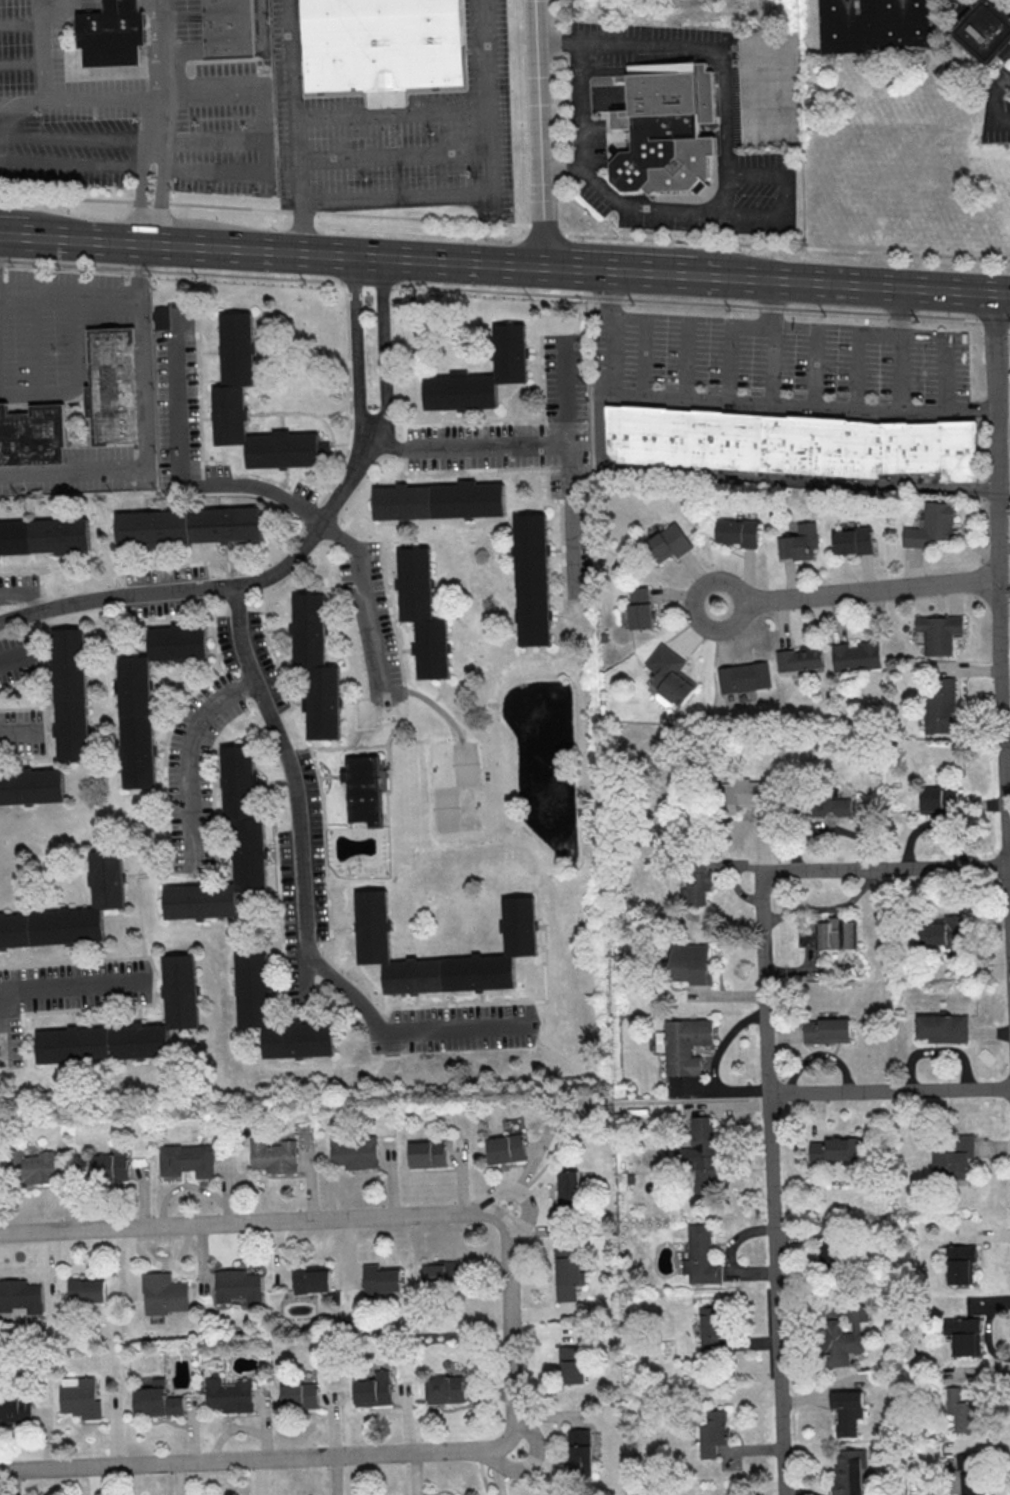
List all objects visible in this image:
building: (877, 26)
building: (983, 28)
road: (159, 31)
building: (112, 34)
building: (381, 44)
building: (227, 55)
road: (45, 75)
road: (1001, 79)
road: (102, 98)
road: (295, 100)
road: (157, 107)
road: (584, 109)
road: (988, 111)
road: (392, 113)
building: (667, 129)
road: (722, 132)
road: (539, 133)
road: (394, 156)
road: (788, 191)
road: (139, 194)
road: (492, 194)
road: (159, 195)
road: (66, 198)
road: (138, 200)
road: (149, 201)
road: (160, 202)
road: (230, 206)
road: (303, 211)
road: (422, 218)
road: (300, 226)
road: (546, 229)
road: (18, 234)
road: (168, 243)
road: (786, 246)
road: (342, 255)
road: (462, 262)
road: (621, 270)
road: (856, 285)
road: (504, 292)
road: (70, 293)
road: (773, 302)
building: (162, 317)
parking lot: (54, 329)
road: (645, 341)
road: (33, 344)
road: (732, 344)
road: (356, 348)
road: (384, 350)
road: (857, 350)
road: (902, 350)
parking lot: (782, 358)
road: (687, 360)
road: (773, 365)
road: (817, 368)
road: (947, 372)
building: (481, 375)
road: (79, 382)
building: (113, 386)
building: (227, 398)
road: (742, 402)
road: (602, 425)
road: (148, 430)
building: (33, 435)
road: (1003, 438)
building: (792, 442)
road: (467, 447)
parking lot: (534, 451)
road: (567, 468)
parking lot: (80, 473)
road: (801, 479)
road: (276, 494)
building: (438, 502)
building: (933, 526)
building: (186, 527)
building: (737, 532)
building: (43, 537)
building: (852, 540)
building: (799, 542)
building: (667, 543)
building: (530, 581)
road: (219, 587)
parking lot: (17, 589)
road: (858, 592)
road: (999, 592)
road: (23, 597)
building: (639, 607)
building: (421, 614)
building: (939, 633)
parking lot: (18, 656)
building: (856, 656)
road: (14, 658)
building: (800, 658)
building: (314, 668)
building: (668, 675)
building: (743, 677)
building: (69, 696)
building: (148, 697)
building: (940, 705)
road: (18, 732)
parking lot: (21, 732)
road: (1007, 752)
road: (188, 758)
park: (454, 787)
building: (31, 788)
road: (294, 788)
building: (364, 791)
building: (741, 794)
building: (939, 799)
building: (823, 807)
building: (247, 853)
building: (698, 884)
building: (69, 913)
building: (371, 927)
building: (942, 931)
building: (835, 934)
building: (806, 936)
building: (689, 963)
road: (75, 986)
building: (250, 990)
building: (179, 992)
parking lot: (64, 994)
building: (942, 1029)
road: (403, 1031)
building: (827, 1031)
road: (1, 1037)
building: (685, 1045)
road: (769, 1060)
road: (570, 1063)
road: (890, 1092)
road: (626, 1099)
building: (505, 1148)
building: (835, 1149)
building: (352, 1153)
building: (701, 1154)
building: (425, 1156)
building: (272, 1157)
building: (954, 1160)
building: (185, 1161)
building: (29, 1168)
building: (107, 1168)
building: (568, 1190)
road: (522, 1192)
road: (363, 1216)
building: (700, 1256)
building: (959, 1263)
building: (440, 1273)
building: (568, 1274)
building: (310, 1278)
building: (379, 1279)
building: (236, 1286)
building: (86, 1288)
building: (163, 1293)
building: (16, 1295)
building: (711, 1331)
building: (964, 1336)
building: (844, 1337)
building: (573, 1364)
building: (445, 1388)
building: (373, 1389)
building: (228, 1395)
building: (299, 1395)
building: (83, 1399)
building: (156, 1399)
building: (15, 1408)
building: (960, 1411)
building: (844, 1416)
building: (713, 1433)
building: (581, 1451)
road: (254, 1459)
road: (532, 1459)
road: (482, 1472)
building: (848, 1474)
building: (966, 1474)

